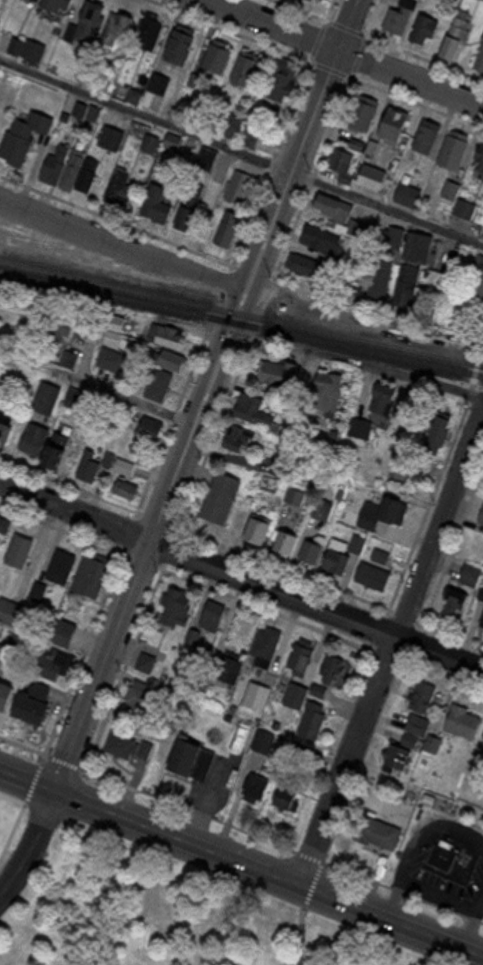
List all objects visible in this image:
building: (326, 0)
building: (482, 0)
building: (50, 5)
building: (394, 13)
building: (84, 22)
building: (113, 22)
building: (423, 24)
building: (146, 26)
building: (455, 33)
building: (178, 38)
road: (381, 38)
building: (215, 50)
road: (353, 50)
building: (35, 51)
building: (478, 53)
road: (321, 62)
building: (246, 63)
building: (280, 75)
building: (361, 108)
building: (393, 120)
building: (242, 129)
road: (281, 130)
building: (23, 131)
building: (427, 133)
road: (324, 136)
building: (452, 143)
road: (241, 152)
building: (477, 152)
building: (209, 158)
building: (53, 159)
building: (343, 160)
building: (71, 163)
building: (89, 167)
building: (482, 172)
building: (122, 181)
building: (239, 186)
building: (451, 190)
building: (160, 193)
building: (411, 196)
building: (330, 201)
building: (186, 202)
building: (466, 209)
building: (187, 217)
building: (345, 218)
building: (228, 223)
road: (135, 224)
building: (320, 235)
building: (397, 238)
road: (123, 246)
building: (421, 248)
building: (304, 260)
building: (376, 277)
building: (473, 282)
building: (403, 287)
road: (333, 301)
railway: (241, 313)
railway: (241, 323)
building: (162, 329)
building: (59, 330)
building: (114, 338)
building: (167, 354)
building: (70, 360)
building: (112, 360)
road: (388, 365)
building: (278, 367)
building: (158, 380)
building: (325, 388)
road: (482, 390)
building: (382, 392)
road: (205, 395)
road: (139, 396)
building: (49, 397)
road: (226, 399)
building: (82, 400)
road: (473, 403)
building: (252, 405)
building: (4, 422)
building: (146, 424)
building: (435, 428)
building: (236, 432)
building: (31, 433)
building: (55, 443)
building: (63, 455)
building: (88, 463)
building: (127, 464)
building: (123, 485)
building: (273, 485)
building: (218, 491)
building: (133, 493)
building: (325, 508)
building: (390, 508)
building: (481, 509)
building: (4, 520)
road: (417, 524)
building: (255, 527)
building: (283, 536)
road: (453, 539)
road: (126, 540)
building: (18, 544)
building: (310, 548)
building: (382, 556)
building: (335, 557)
building: (60, 558)
road: (270, 560)
road: (165, 565)
building: (91, 569)
building: (470, 569)
building: (372, 570)
road: (241, 578)
building: (449, 600)
building: (177, 603)
building: (212, 614)
building: (481, 615)
building: (1, 627)
road: (395, 639)
building: (263, 640)
building: (299, 650)
building: (4, 651)
building: (163, 651)
building: (51, 661)
building: (148, 661)
building: (337, 667)
building: (6, 688)
building: (422, 694)
building: (31, 696)
building: (138, 696)
building: (460, 715)
building: (311, 716)
building: (481, 728)
building: (122, 740)
building: (393, 751)
building: (192, 755)
building: (254, 781)
building: (289, 794)
road: (167, 797)
building: (375, 826)
road: (424, 826)
road: (30, 843)
building: (441, 850)
parking lot: (417, 857)
road: (241, 862)
road: (408, 889)
road: (478, 899)
road: (391, 902)
park: (149, 906)
road: (301, 926)
road: (466, 930)

